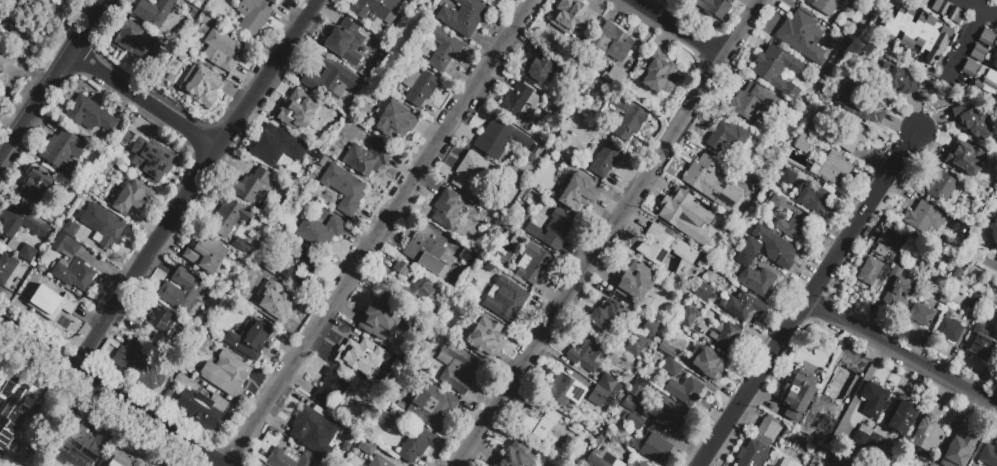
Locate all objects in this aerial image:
building: (271, 1)
building: (40, 4)
building: (823, 6)
building: (940, 6)
building: (714, 8)
road: (967, 9)
building: (374, 10)
building: (156, 13)
building: (955, 15)
building: (571, 16)
road: (990, 17)
building: (464, 18)
building: (253, 19)
building: (17, 27)
road: (678, 29)
building: (916, 32)
building: (802, 37)
building: (986, 38)
building: (132, 41)
building: (612, 42)
building: (346, 44)
road: (966, 46)
building: (444, 50)
building: (977, 54)
building: (226, 56)
building: (993, 59)
building: (4, 65)
building: (542, 66)
building: (969, 68)
building: (777, 69)
building: (658, 74)
building: (613, 75)
building: (889, 80)
road: (53, 81)
building: (333, 83)
building: (198, 85)
building: (987, 85)
building: (421, 89)
building: (517, 101)
building: (751, 101)
road: (149, 102)
building: (859, 104)
building: (297, 113)
building: (89, 118)
building: (628, 120)
building: (972, 122)
building: (395, 125)
building: (727, 136)
building: (850, 136)
building: (499, 138)
building: (802, 142)
building: (533, 147)
building: (278, 149)
building: (550, 155)
building: (691, 155)
building: (61, 156)
building: (150, 156)
building: (965, 158)
building: (606, 159)
building: (368, 160)
building: (514, 169)
building: (814, 169)
building: (834, 169)
building: (471, 173)
building: (787, 177)
building: (710, 182)
building: (941, 186)
building: (33, 187)
building: (251, 187)
road: (202, 188)
building: (755, 188)
building: (831, 190)
building: (345, 191)
building: (579, 196)
building: (812, 199)
building: (133, 200)
building: (498, 208)
building: (448, 212)
building: (685, 216)
building: (786, 217)
building: (923, 217)
building: (228, 219)
building: (754, 222)
building: (643, 223)
building: (22, 225)
building: (104, 226)
building: (553, 229)
building: (72, 231)
building: (994, 231)
road: (379, 232)
road: (614, 232)
building: (320, 233)
building: (514, 241)
building: (887, 245)
building: (242, 246)
building: (752, 246)
building: (775, 246)
building: (667, 250)
building: (428, 253)
building: (205, 254)
building: (28, 255)
building: (468, 258)
building: (532, 264)
building: (72, 267)
building: (301, 268)
building: (7, 270)
building: (403, 270)
building: (709, 270)
building: (869, 271)
building: (755, 277)
building: (636, 284)
building: (897, 290)
building: (703, 291)
building: (412, 293)
building: (185, 295)
building: (945, 297)
road: (807, 298)
building: (505, 299)
building: (975, 302)
building: (47, 303)
building: (275, 305)
building: (742, 307)
building: (920, 315)
building: (688, 316)
building: (607, 318)
building: (379, 319)
building: (160, 327)
building: (650, 327)
building: (949, 330)
building: (725, 335)
building: (483, 337)
building: (251, 341)
building: (634, 343)
building: (983, 344)
building: (668, 350)
road: (901, 352)
building: (588, 353)
building: (854, 357)
building: (359, 363)
building: (708, 363)
building: (138, 367)
building: (399, 367)
building: (670, 367)
building: (457, 370)
building: (227, 373)
building: (332, 390)
building: (563, 390)
building: (604, 390)
building: (684, 391)
road: (107, 394)
building: (634, 394)
building: (798, 394)
building: (620, 397)
building: (873, 400)
building: (433, 408)
building: (203, 411)
building: (670, 416)
building: (901, 417)
building: (23, 419)
building: (634, 421)
building: (853, 421)
building: (539, 424)
building: (796, 426)
building: (316, 429)
building: (788, 430)
building: (927, 433)
building: (861, 436)
building: (597, 438)
building: (877, 440)
building: (86, 442)
building: (758, 444)
building: (961, 445)
building: (417, 447)
building: (652, 448)
building: (368, 449)
building: (516, 455)
building: (988, 456)
building: (125, 459)
building: (333, 459)
building: (603, 459)
building: (289, 460)
building: (843, 461)
building: (788, 462)
building: (379, 463)
building: (640, 464)
building: (769, 465)
building: (806, 465)

